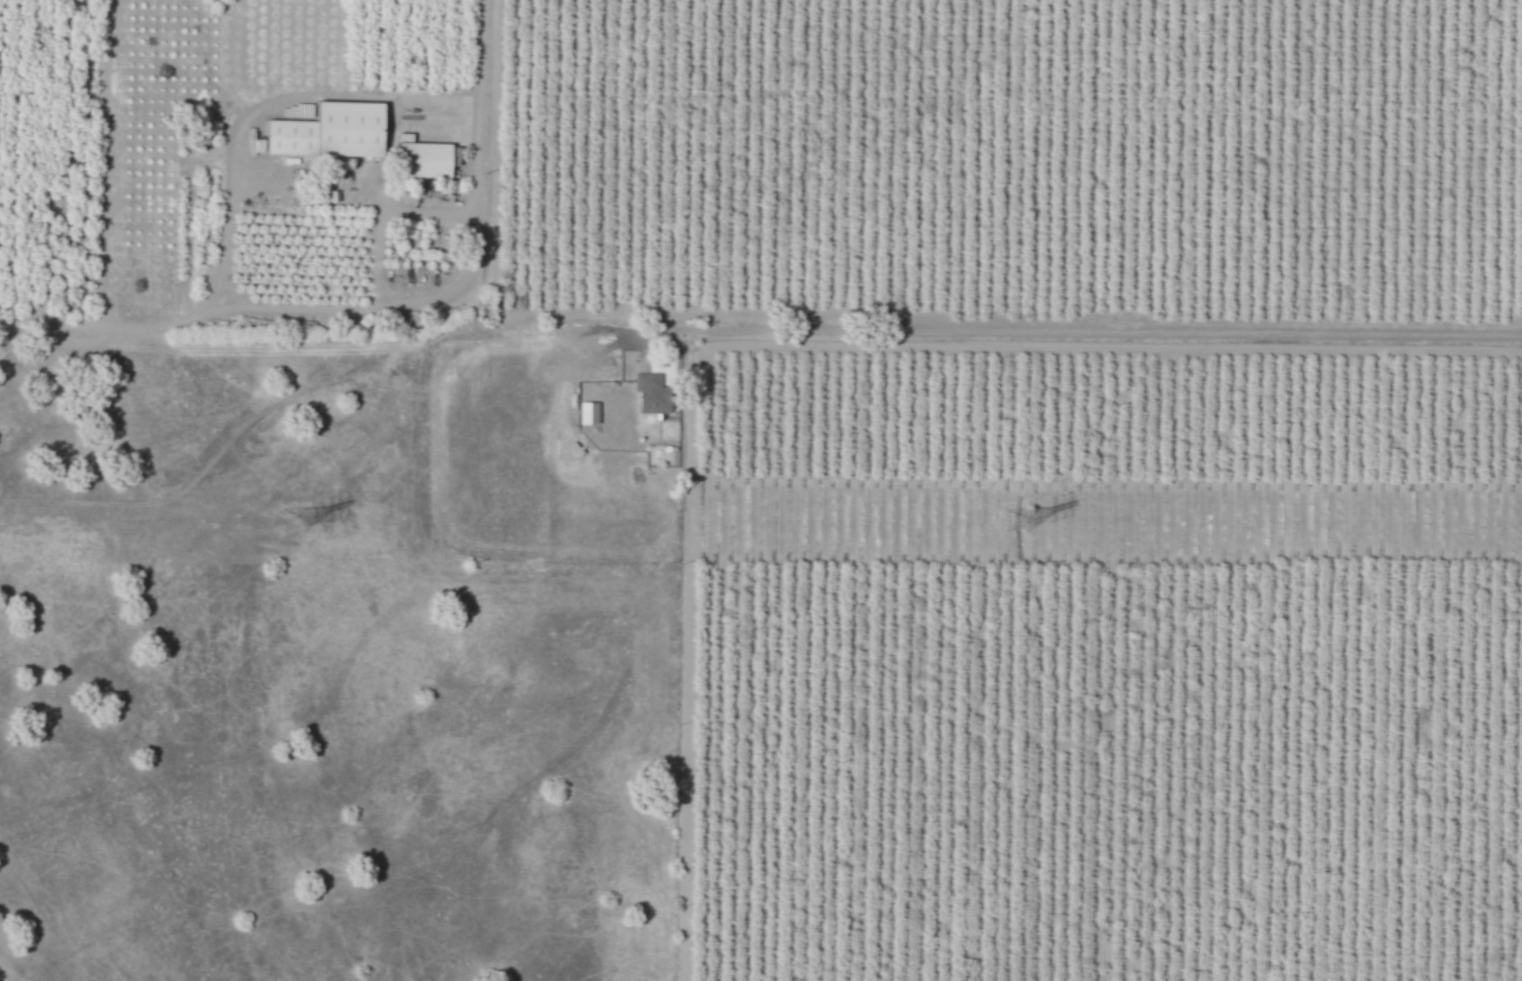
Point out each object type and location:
building: (332, 131)
road: (478, 140)
building: (426, 159)
road: (229, 213)
road: (1052, 331)
building: (652, 386)
building: (590, 413)
power tower: (295, 518)
power tower: (1019, 519)

